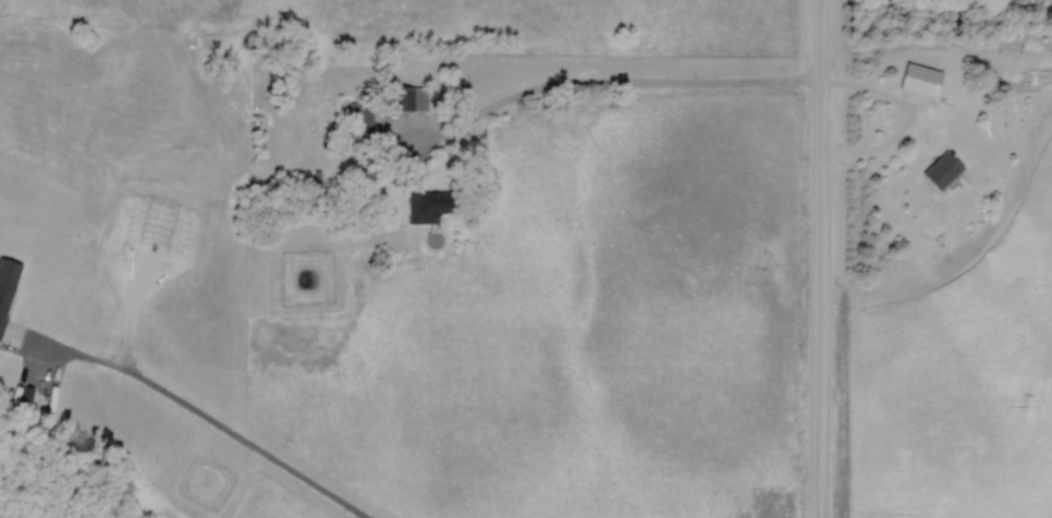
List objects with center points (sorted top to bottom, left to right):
building: (918, 79)
road: (720, 85)
building: (407, 100)
building: (359, 123)
building: (939, 171)
building: (317, 182)
building: (425, 207)
road: (818, 258)
building: (5, 284)
road: (194, 410)

